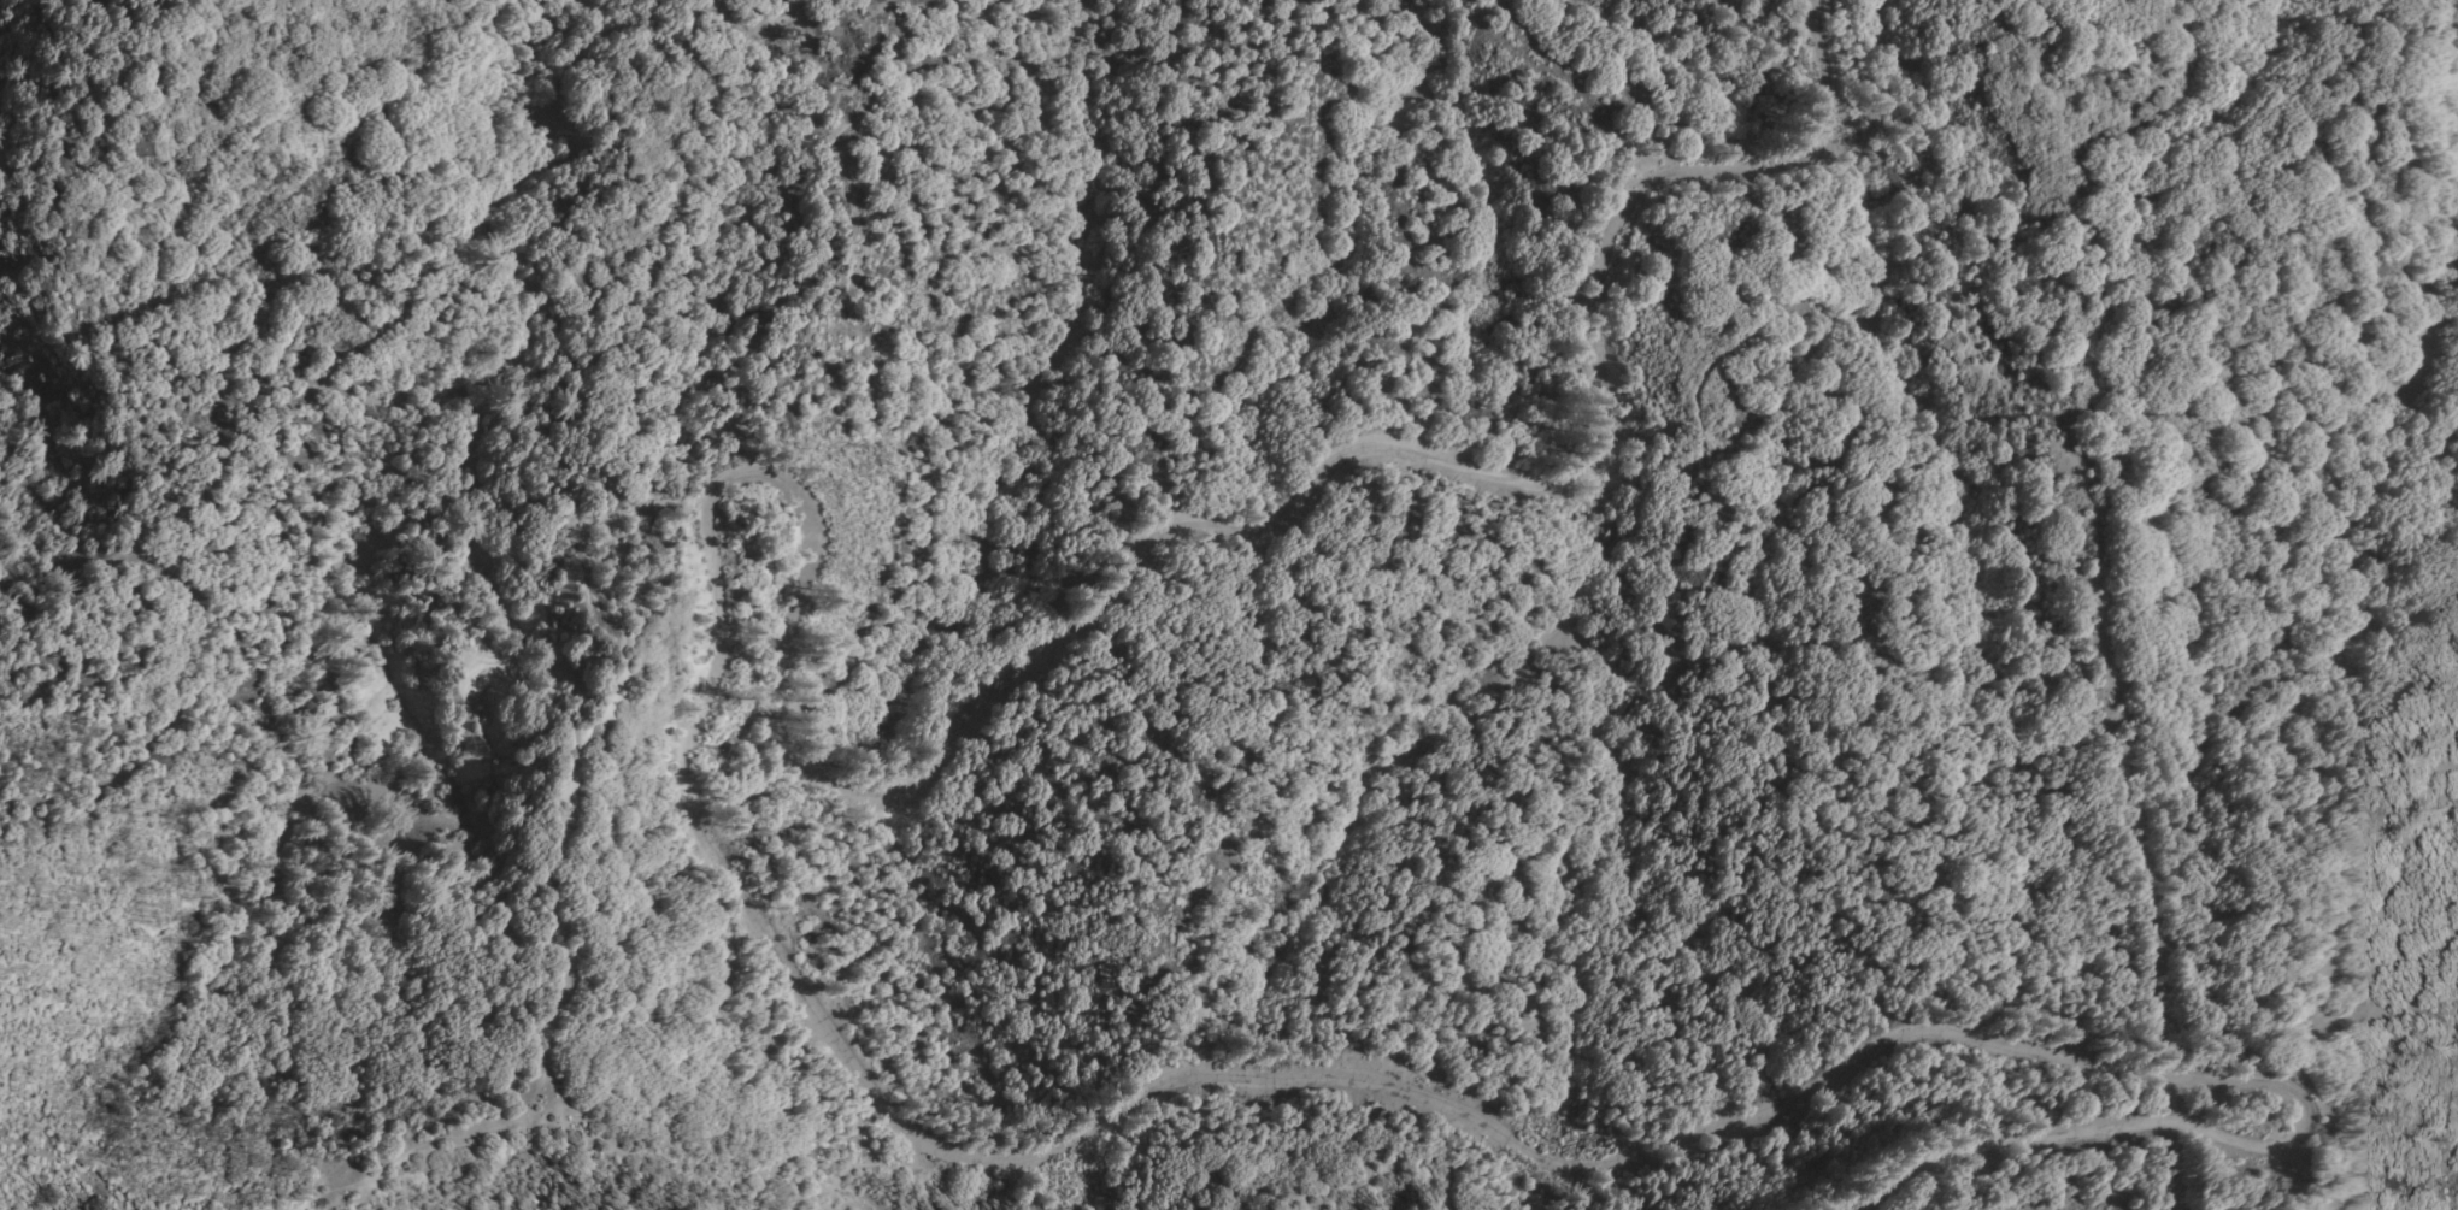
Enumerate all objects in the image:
road: (1798, 725)
road: (724, 862)
road: (558, 1108)
road: (63, 1169)
road: (2281, 1208)

